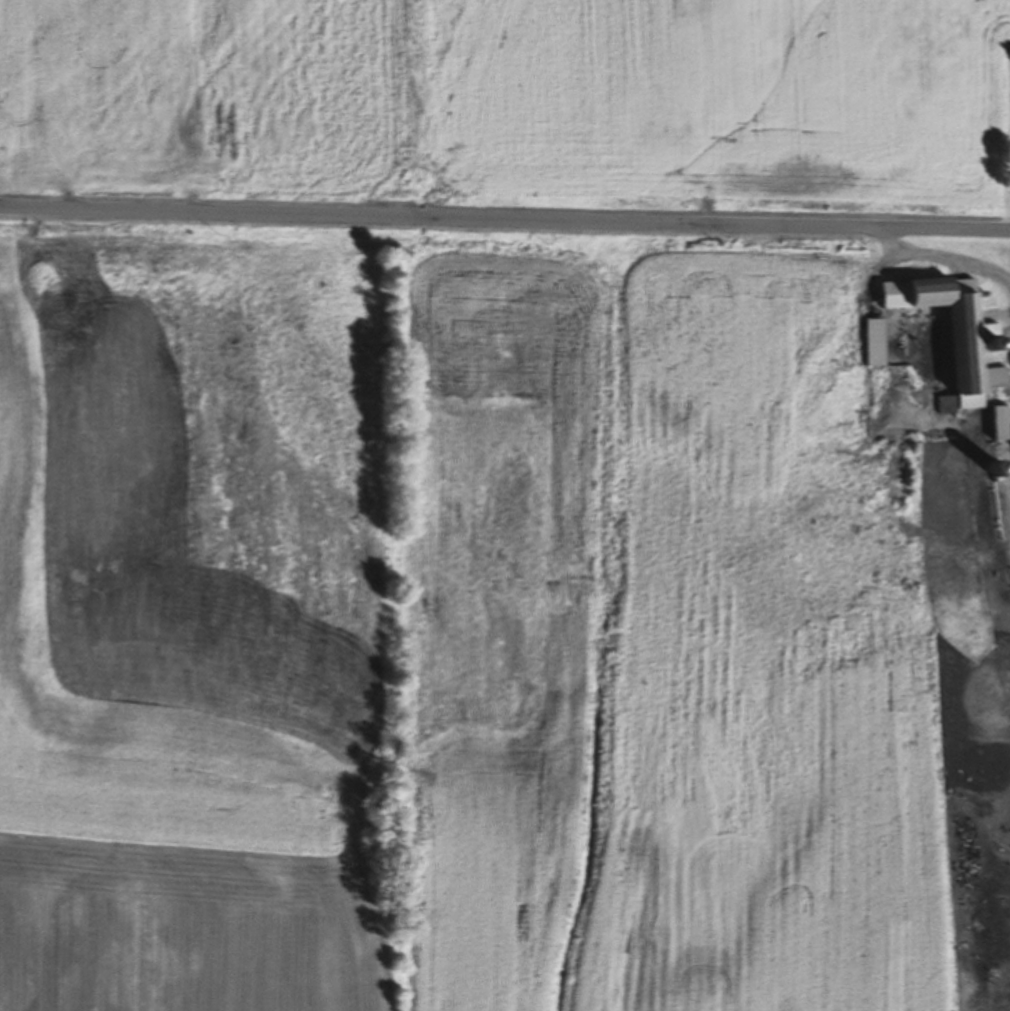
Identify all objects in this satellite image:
road: (504, 219)
road: (944, 254)
building: (949, 337)
building: (873, 345)
building: (995, 427)

